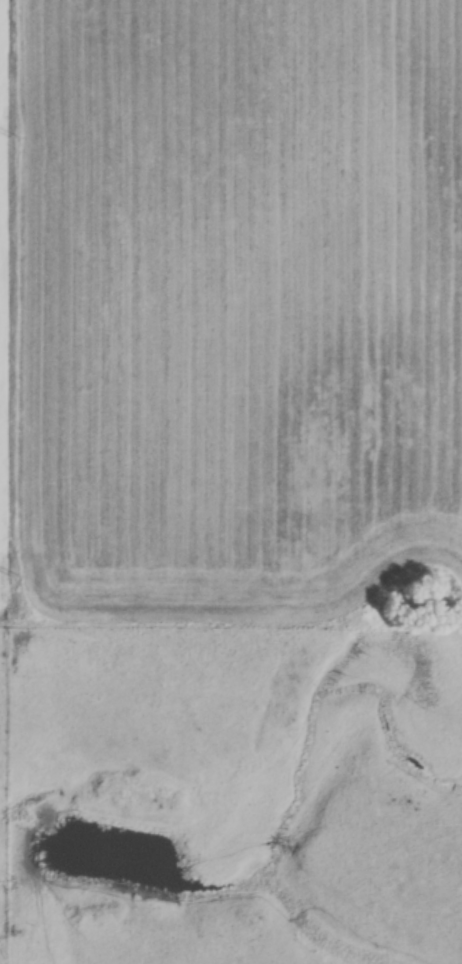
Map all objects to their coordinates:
power tower: (12, 137)
power tower: (12, 576)

